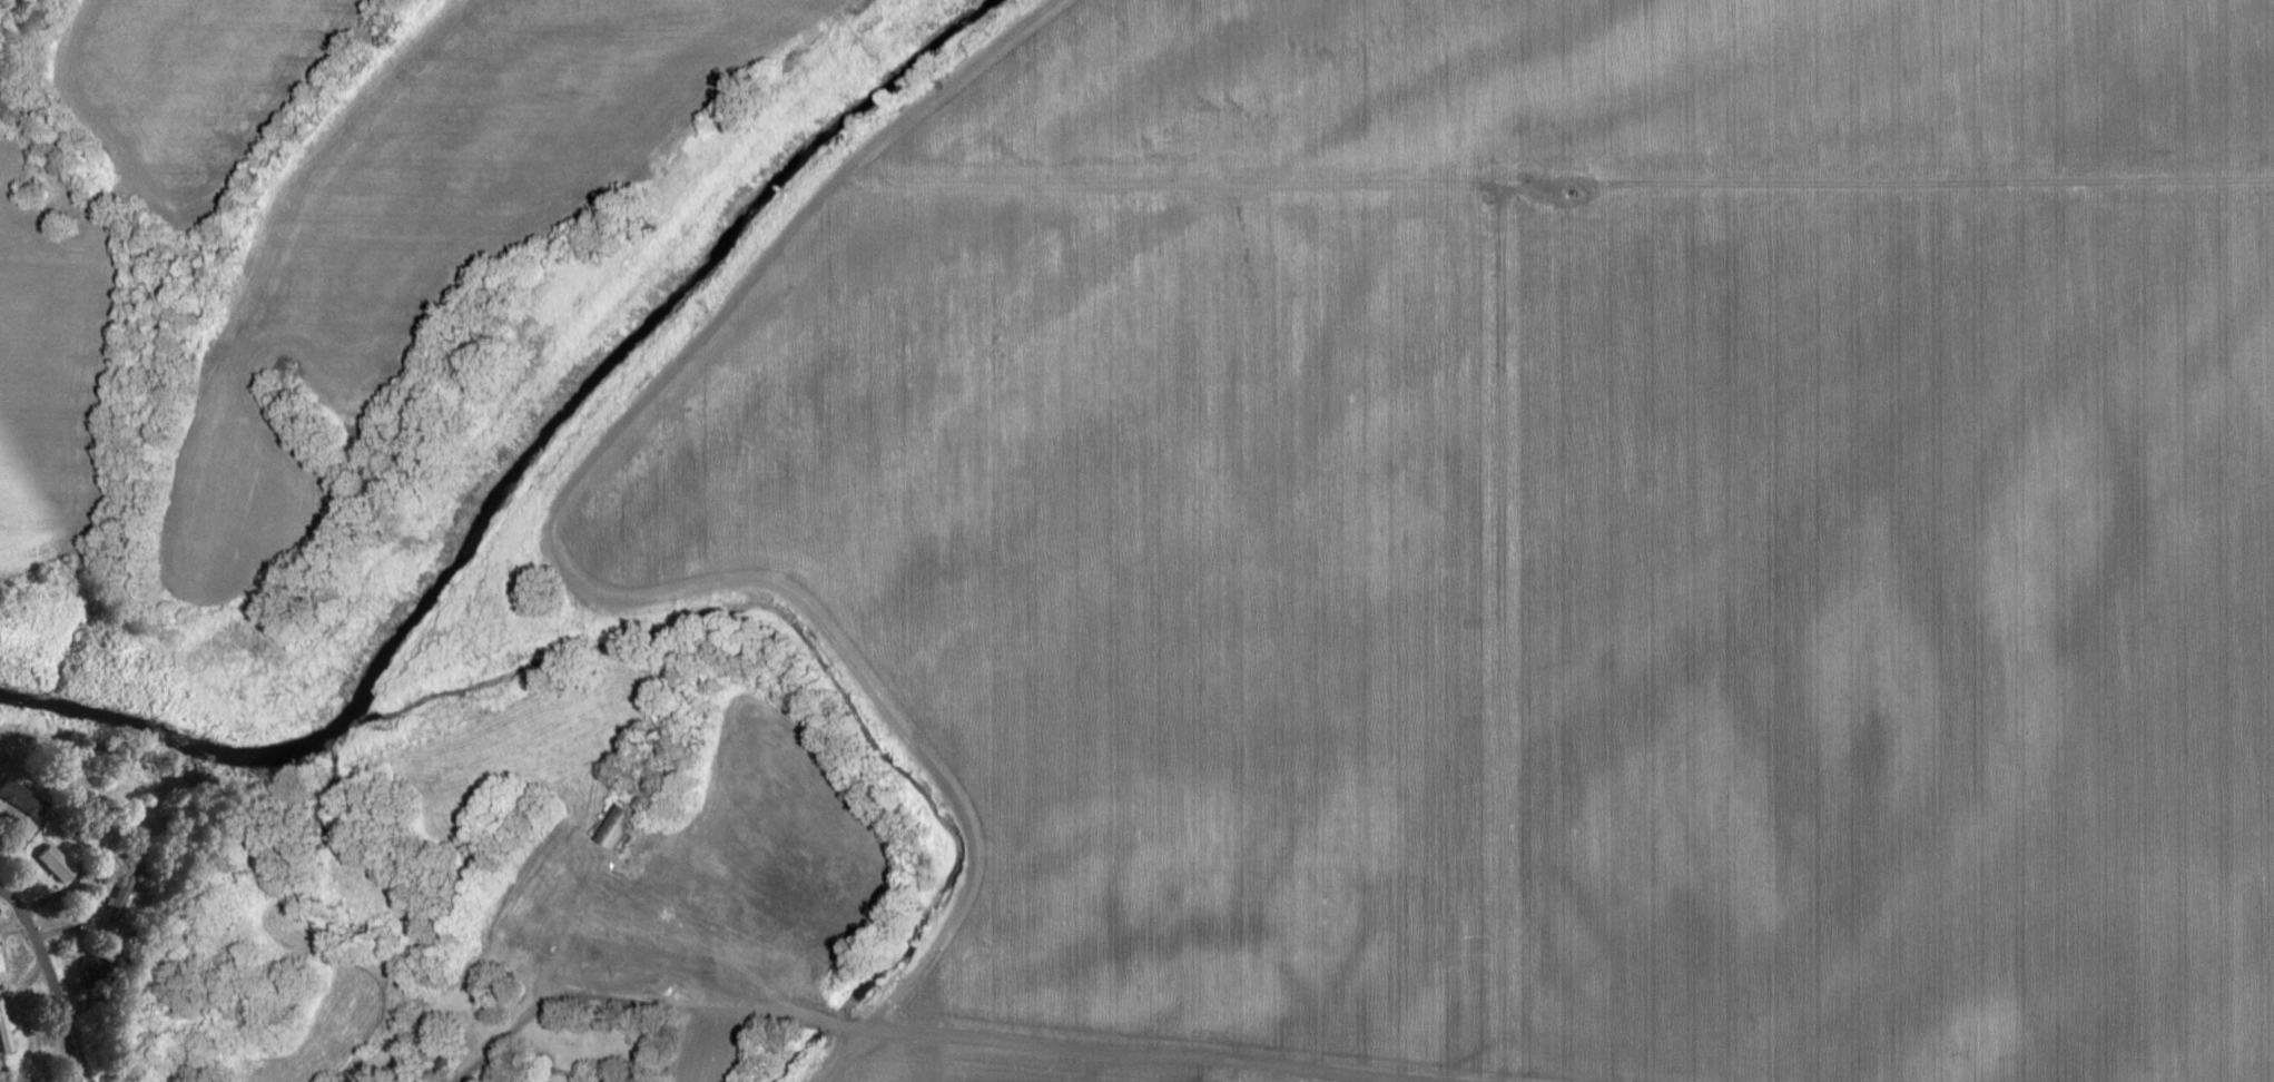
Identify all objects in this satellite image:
building: (17, 801)
building: (613, 828)
building: (82, 839)
building: (48, 863)
building: (115, 901)
building: (0, 967)
building: (90, 967)
road: (47, 983)
road: (992, 1039)

